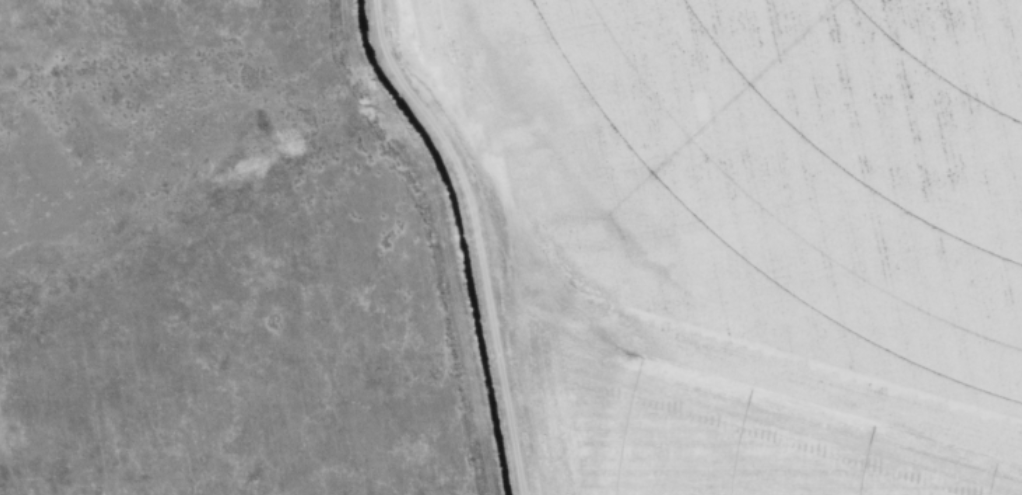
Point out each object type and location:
crop: (767, 239)

